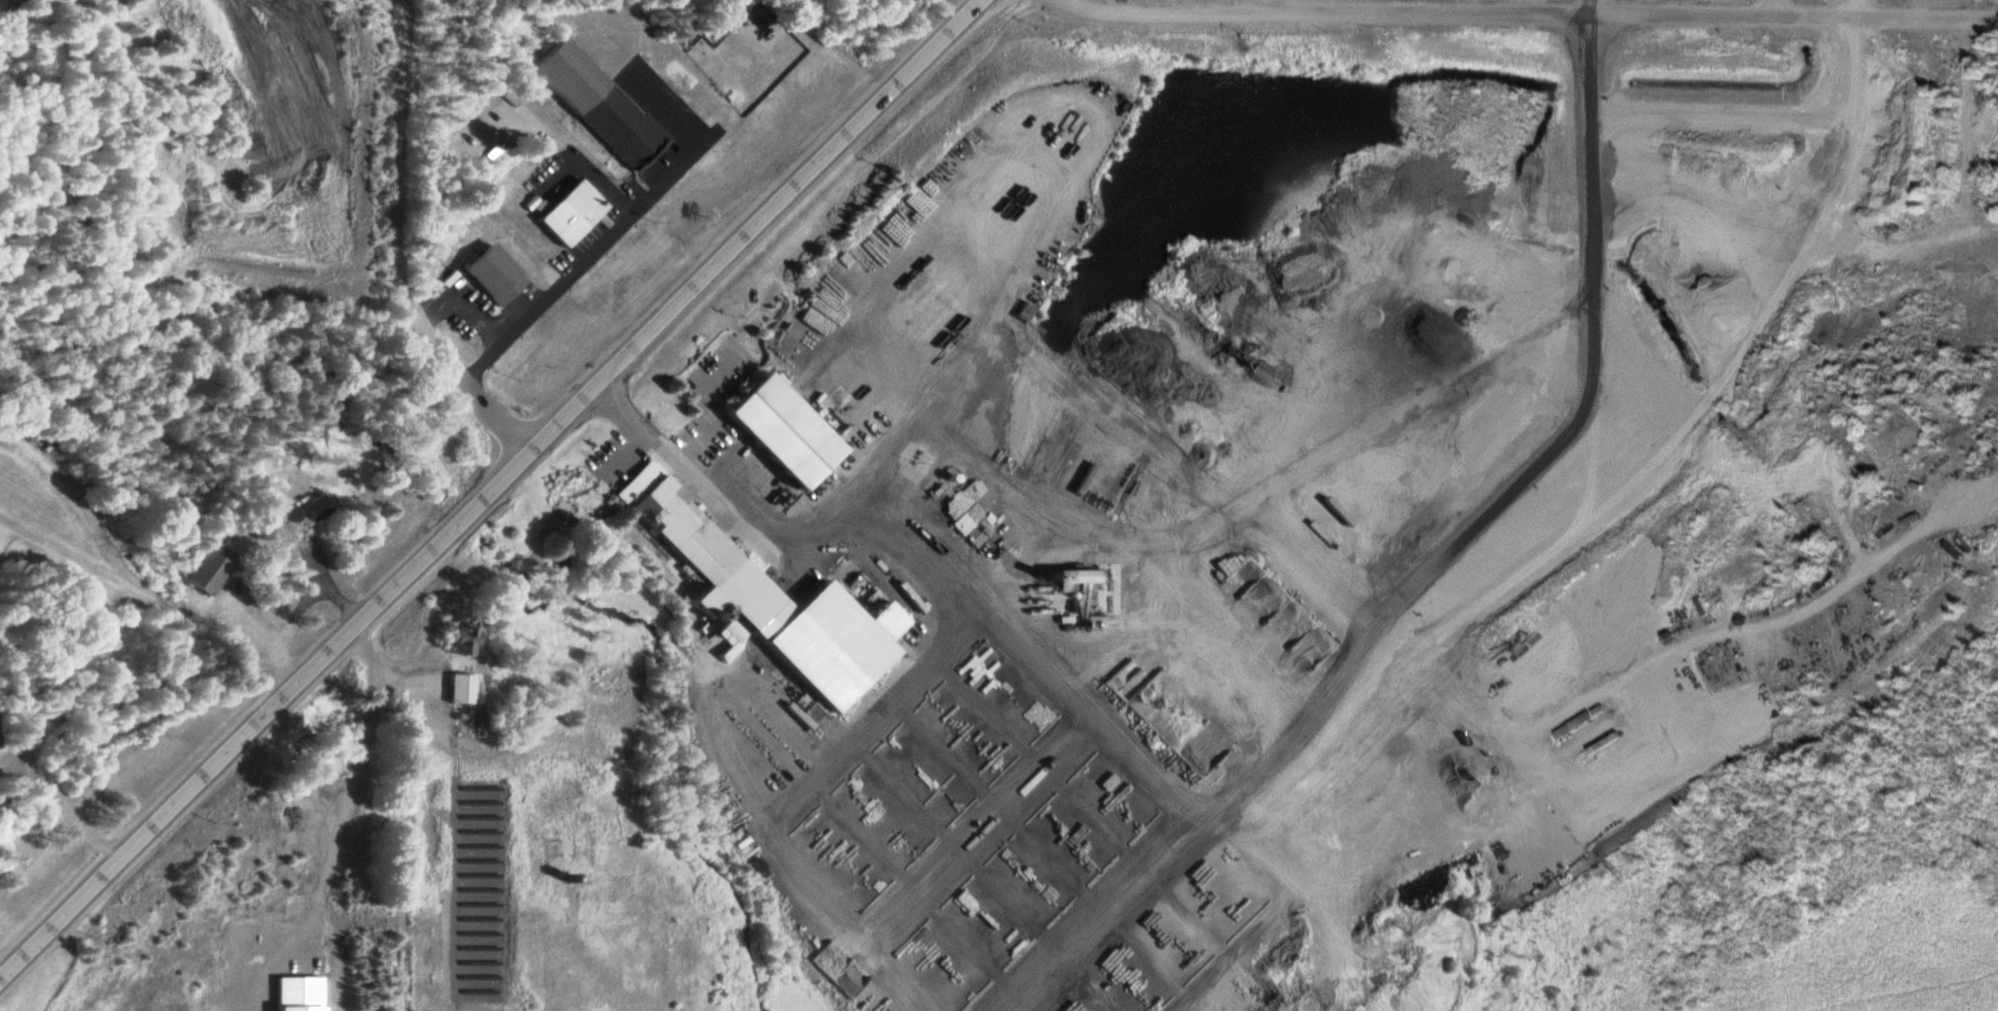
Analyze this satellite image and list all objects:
road: (1850, 10)
road: (1531, 16)
building: (599, 108)
building: (571, 216)
building: (494, 278)
road: (451, 373)
building: (786, 432)
road: (489, 488)
building: (309, 511)
building: (699, 550)
building: (211, 570)
building: (1079, 577)
building: (461, 635)
building: (459, 690)
building: (1583, 724)
building: (548, 768)
road: (59, 804)
road: (406, 811)

